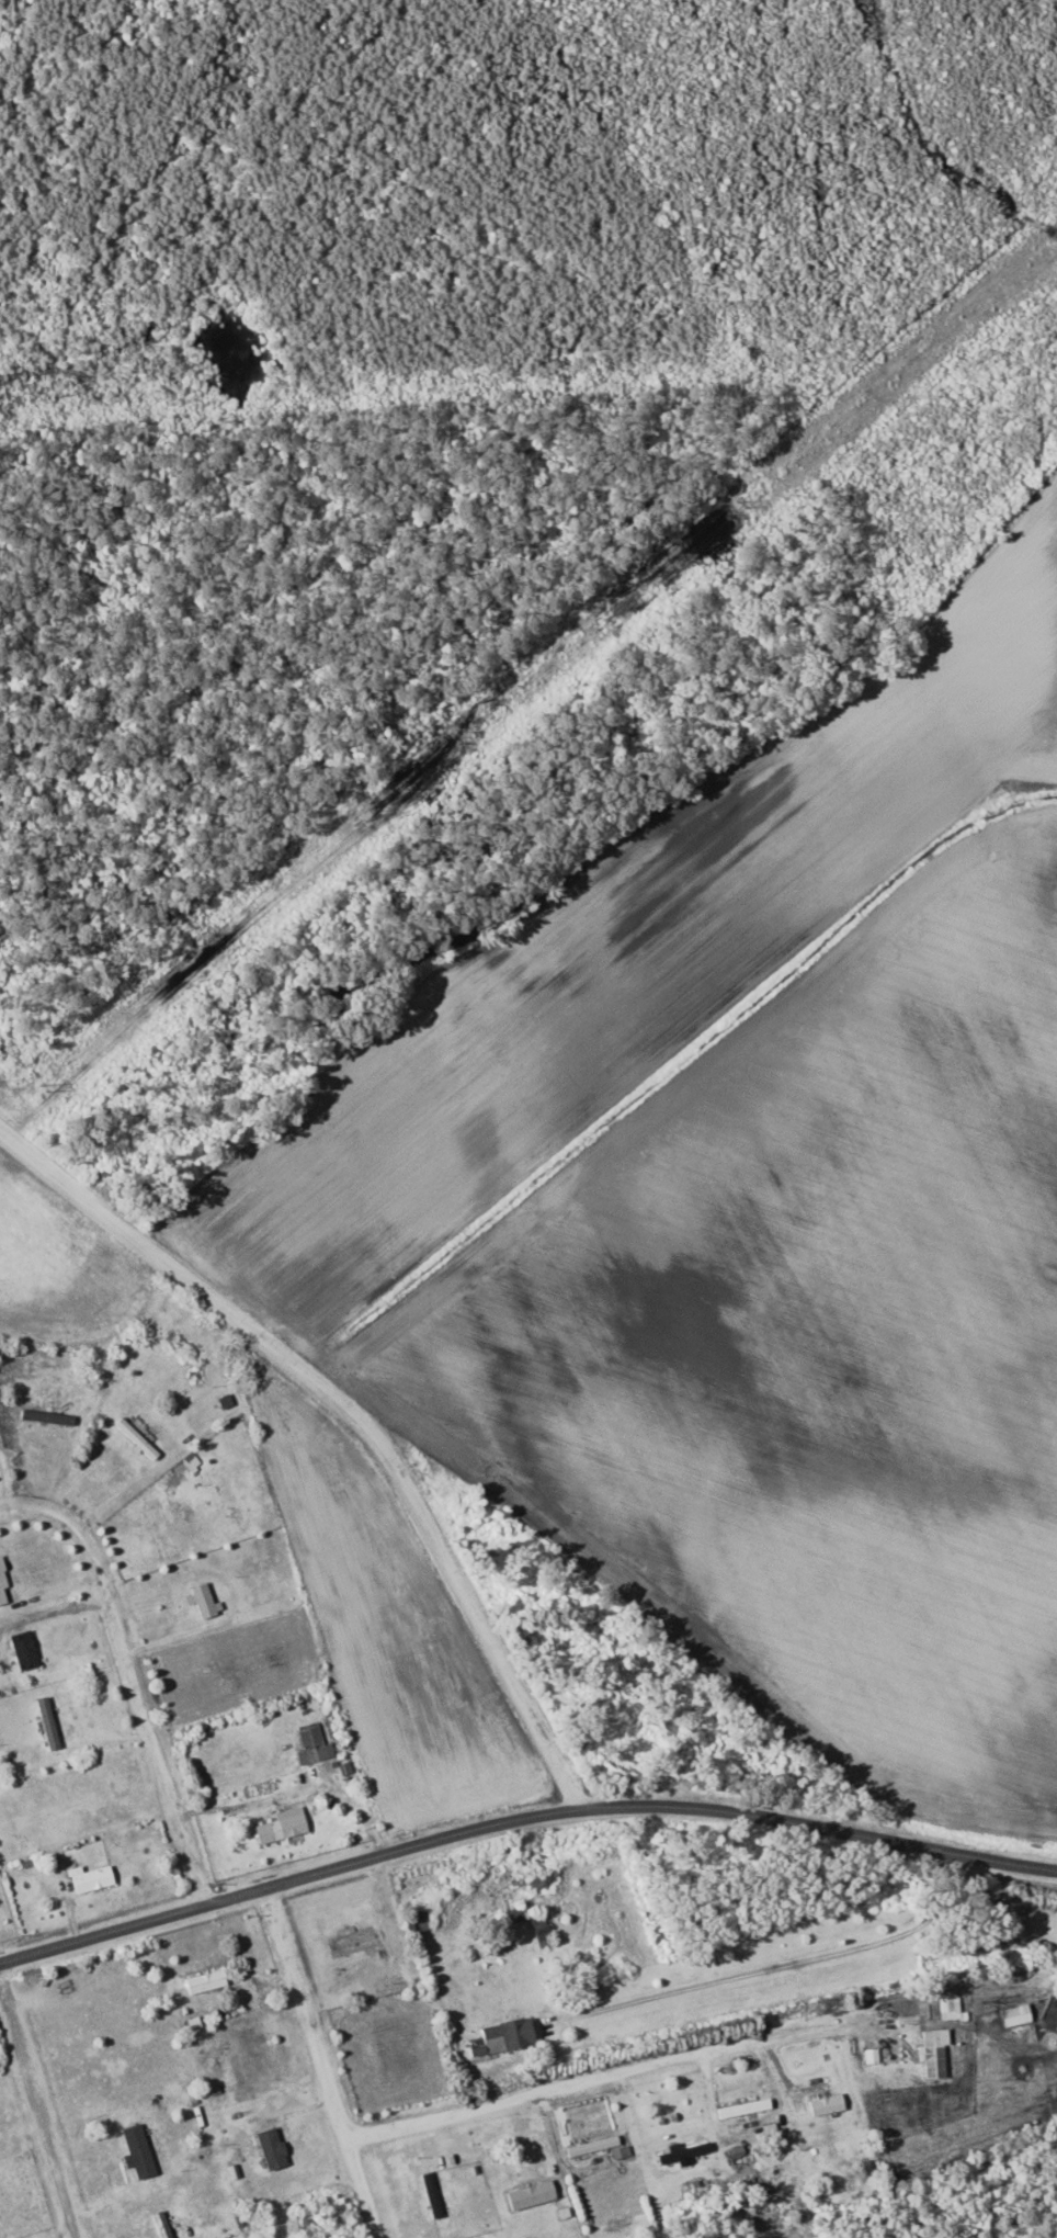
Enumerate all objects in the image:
power tower: (746, 501)
power tower: (470, 730)
power tower: (43, 1089)
road: (355, 1415)
building: (2, 1584)
building: (201, 1598)
building: (22, 1649)
road: (132, 1679)
building: (46, 1722)
building: (311, 1743)
road: (522, 1819)
building: (280, 1824)
building: (88, 1878)
building: (416, 1921)
building: (539, 1933)
building: (349, 1941)
building: (203, 1981)
building: (948, 2008)
building: (499, 2036)
building: (931, 2051)
building: (871, 2055)
road: (325, 2062)
road: (580, 2081)
building: (825, 2103)
building: (742, 2107)
road: (41, 2110)
building: (591, 2145)
building: (270, 2148)
building: (135, 2151)
building: (682, 2152)
building: (528, 2194)
building: (159, 2224)

